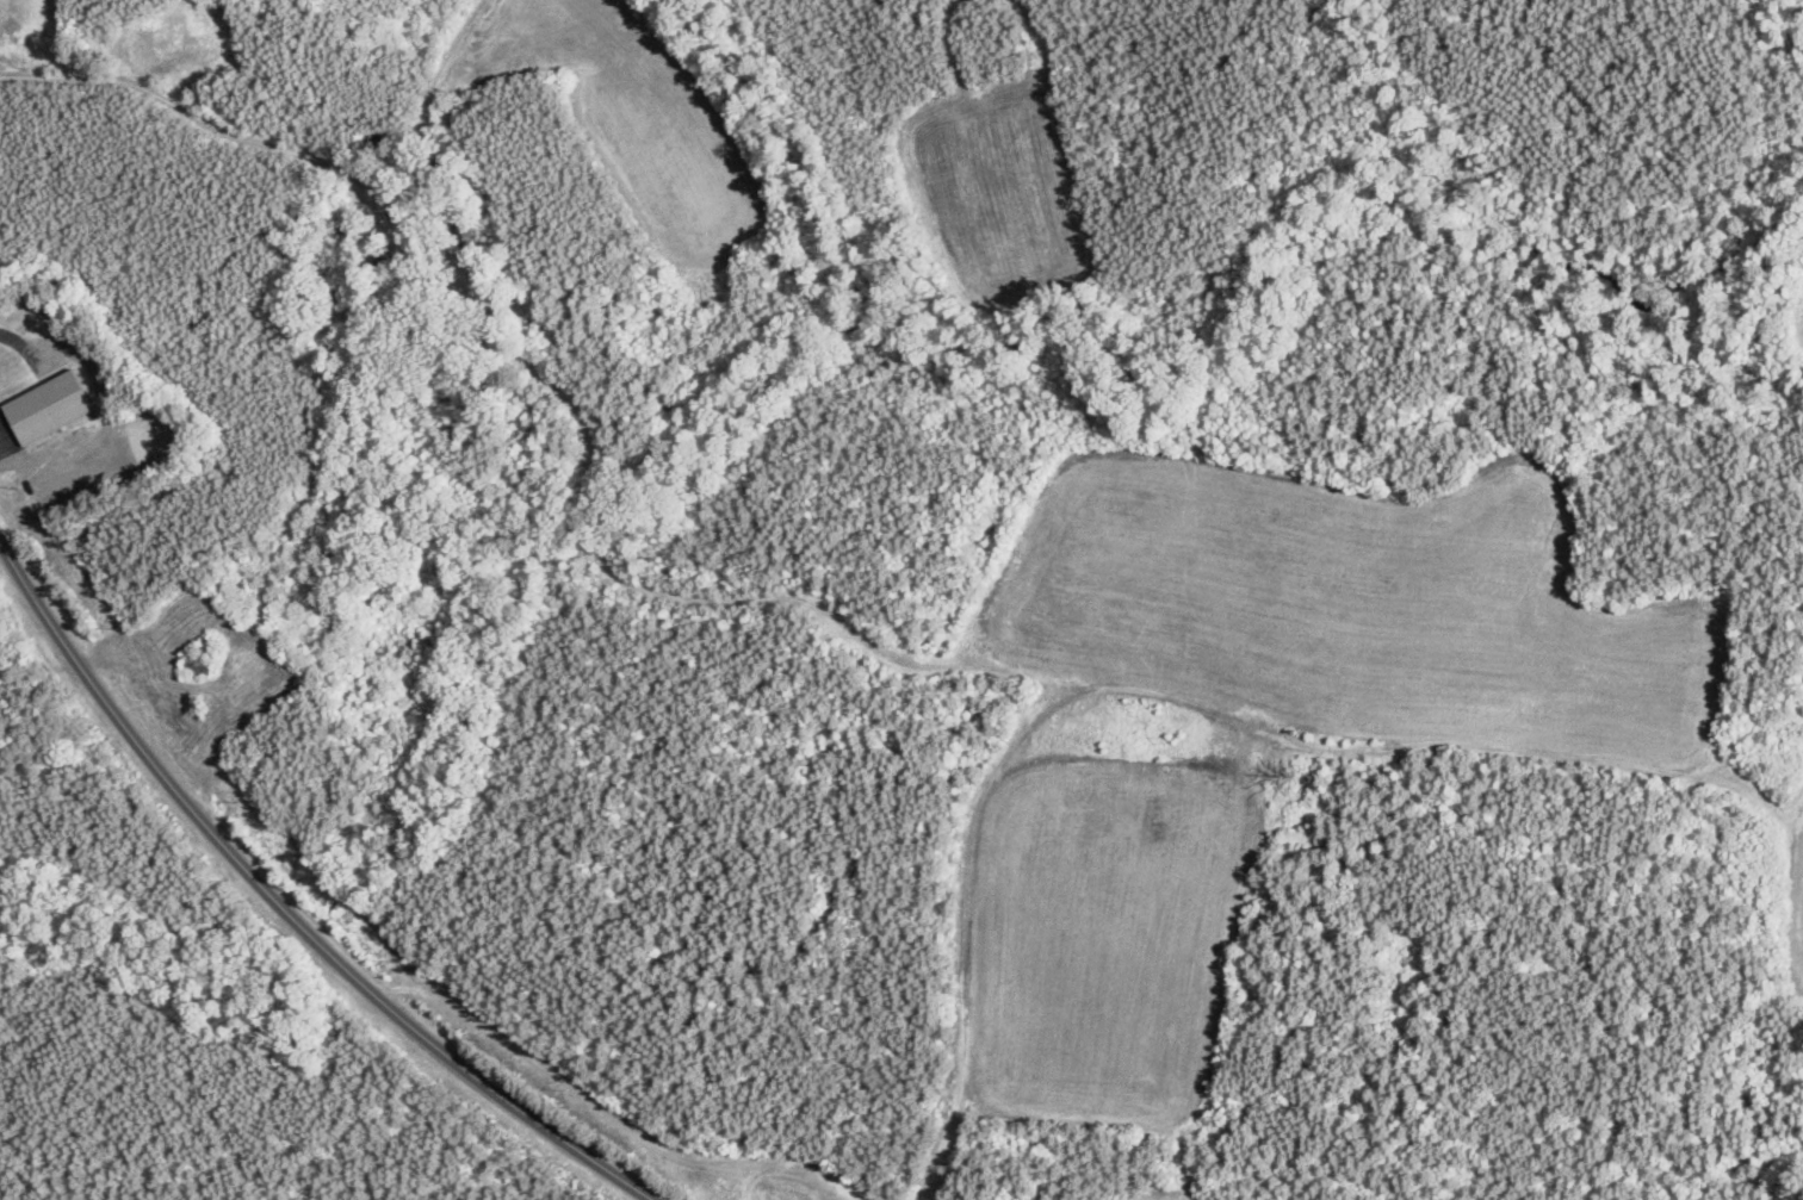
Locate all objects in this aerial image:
road: (209, 122)
building: (374, 138)
building: (35, 414)
building: (199, 659)
road: (283, 910)

